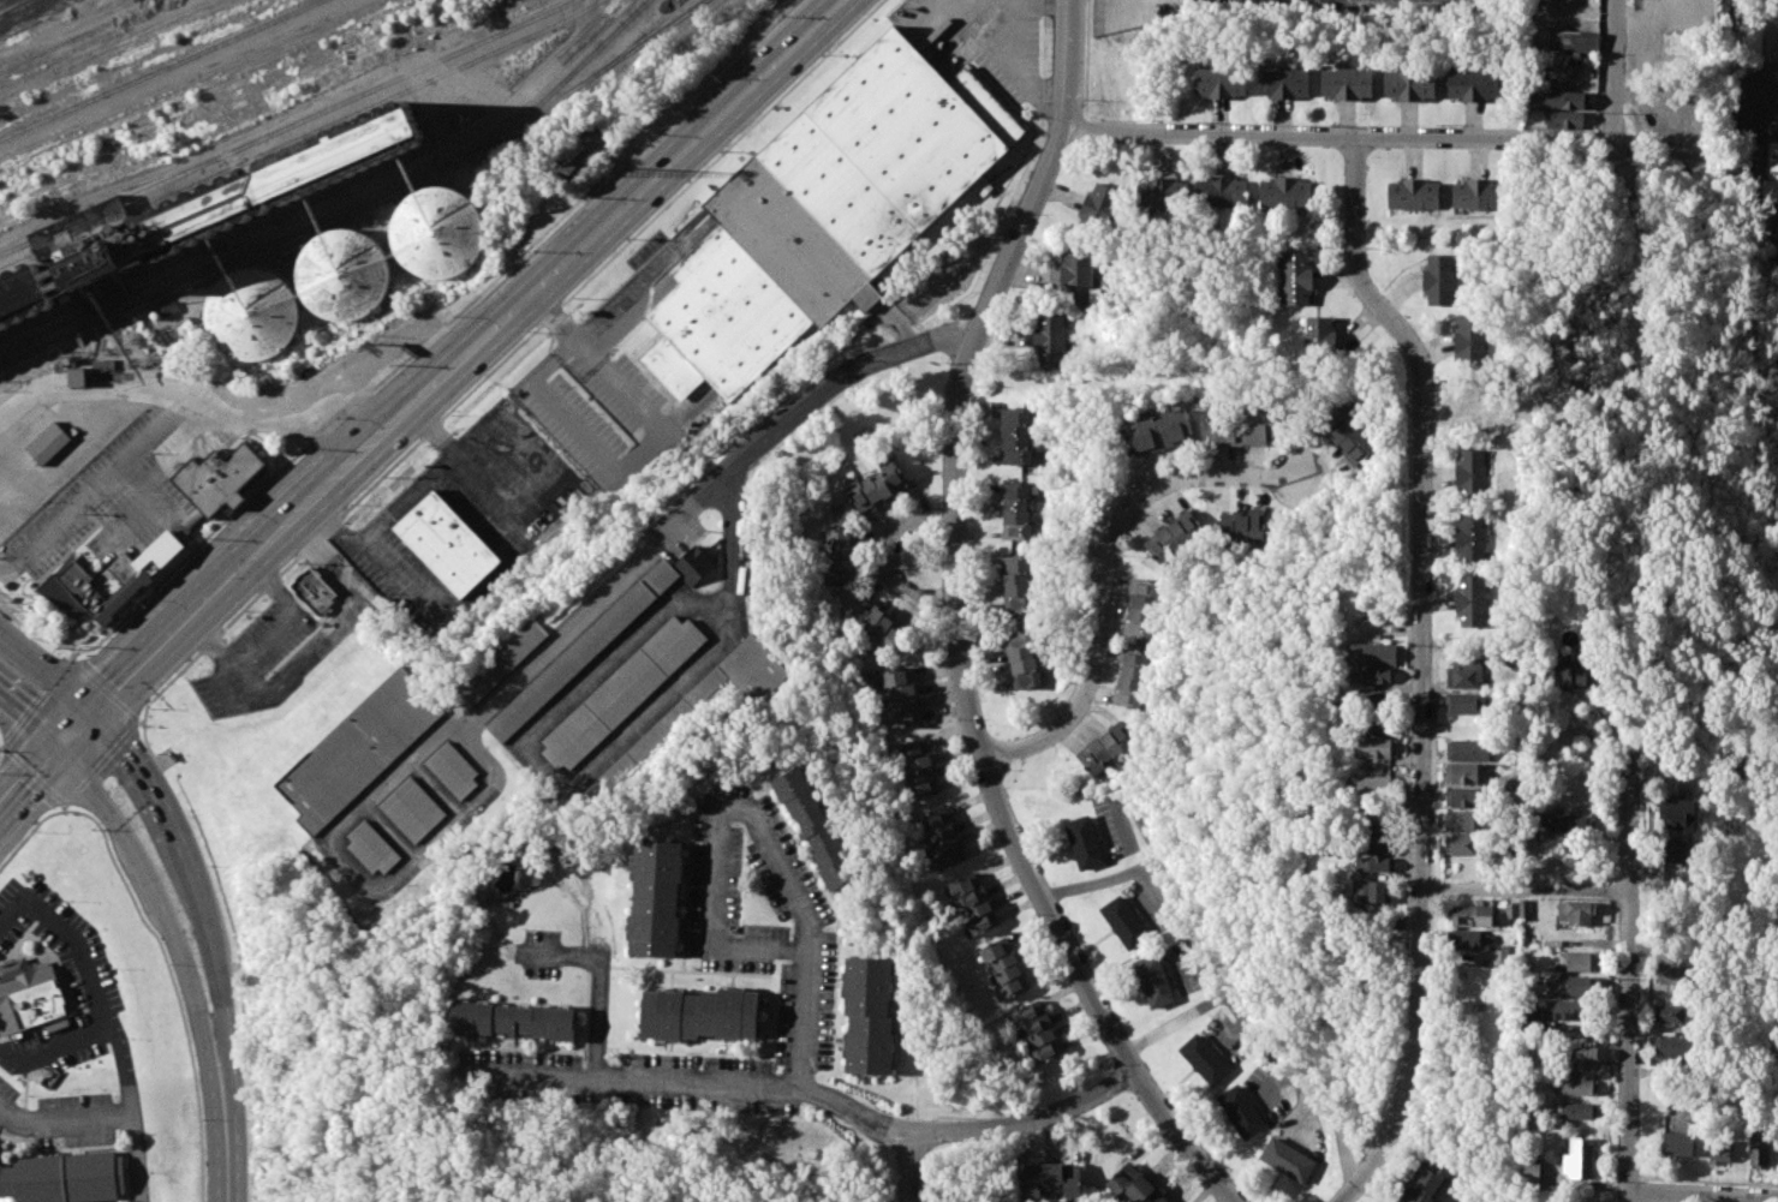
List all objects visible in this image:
building: (1476, 0)
road: (1036, 1)
road: (1055, 2)
railway: (11, 5)
railway: (698, 6)
railway: (673, 8)
railway: (23, 11)
railway: (37, 17)
railway: (50, 22)
building: (1570, 42)
road: (1018, 64)
railway: (159, 68)
road: (1600, 70)
road: (1613, 71)
railway: (597, 74)
railway: (568, 76)
building: (1219, 83)
building: (1283, 83)
building: (1347, 83)
building: (1410, 84)
building: (1474, 84)
street lamp: (1086, 100)
building: (1565, 100)
street lamp: (1601, 113)
street lamp: (1197, 120)
building: (1565, 120)
street lamp: (1330, 122)
street lamp: (1439, 124)
railway: (288, 126)
road: (1276, 132)
railway: (300, 137)
road: (1550, 139)
building: (1771, 177)
building: (268, 185)
building: (1222, 193)
railway: (326, 195)
building: (1163, 195)
building: (1285, 196)
building: (1413, 198)
building: (1478, 199)
railway: (334, 204)
building: (827, 210)
street lamp: (1012, 211)
building: (1099, 211)
road: (602, 231)
building: (436, 234)
street lamp: (1367, 247)
building: (1777, 250)
railway: (244, 261)
building: (86, 262)
building: (341, 276)
building: (1078, 279)
building: (1296, 280)
building: (1442, 281)
road: (634, 283)
building: (20, 295)
building: (250, 316)
road: (550, 321)
road: (937, 336)
building: (1050, 340)
building: (1319, 340)
building: (1470, 342)
street lamp: (947, 363)
building: (1773, 390)
street lamp: (1412, 403)
road: (247, 405)
road: (686, 417)
building: (1241, 427)
road: (316, 429)
building: (1157, 432)
building: (1016, 436)
building: (1344, 436)
building: (48, 442)
road: (640, 456)
street lamp: (1194, 464)
road: (1266, 471)
building: (1470, 474)
road: (103, 478)
building: (217, 478)
building: (876, 488)
road: (149, 495)
road: (404, 498)
building: (1015, 512)
road: (672, 524)
building: (1242, 526)
street lamp: (939, 537)
building: (1173, 537)
building: (1470, 538)
building: (446, 545)
street lamp: (1121, 554)
road: (204, 555)
building: (841, 557)
road: (890, 557)
road: (5, 568)
road: (483, 584)
building: (1016, 584)
building: (106, 587)
road: (225, 588)
building: (312, 592)
road: (1103, 592)
building: (1472, 600)
building: (1141, 608)
road: (347, 614)
building: (875, 624)
road: (957, 627)
road: (38, 636)
building: (597, 639)
road: (265, 641)
building: (1372, 654)
building: (1022, 660)
building: (501, 662)
road: (1422, 666)
road: (48, 670)
building: (1569, 672)
building: (1464, 674)
building: (1370, 675)
building: (1130, 678)
road: (245, 680)
road: (105, 690)
building: (622, 692)
building: (899, 696)
building: (1374, 698)
street lamp: (1093, 701)
building: (1464, 704)
building: (700, 706)
traffic signals: (91, 716)
street lamp: (955, 719)
road: (30, 723)
building: (1378, 728)
road: (76, 734)
road: (147, 743)
building: (1372, 747)
building: (1106, 748)
building: (358, 749)
building: (1468, 749)
traffic signals: (60, 753)
building: (917, 767)
building: (453, 770)
building: (1464, 773)
road: (32, 775)
building: (1370, 784)
road: (1522, 784)
road: (29, 787)
building: (1464, 797)
building: (413, 811)
road: (756, 813)
building: (1678, 814)
building: (1463, 820)
building: (1565, 821)
building: (815, 827)
road: (169, 830)
building: (1374, 833)
building: (941, 839)
building: (1084, 842)
building: (1463, 845)
building: (371, 848)
building: (1673, 851)
building: (1374, 863)
road: (1460, 889)
road: (1563, 891)
road: (157, 896)
building: (1371, 896)
building: (656, 898)
building: (972, 904)
building: (1519, 910)
building: (1576, 911)
building: (1469, 915)
building: (1124, 922)
building: (1470, 939)
building: (1509, 956)
building: (1576, 962)
building: (1004, 968)
road: (1629, 971)
building: (1670, 974)
building: (1153, 981)
parking lot: (90, 982)
road: (173, 982)
road: (599, 982)
building: (1574, 985)
building: (29, 999)
road: (223, 1010)
building: (1573, 1010)
building: (1671, 1012)
road: (1187, 1013)
building: (702, 1015)
building: (869, 1016)
building: (1532, 1016)
road: (107, 1019)
building: (513, 1021)
building: (1036, 1033)
building: (1675, 1046)
building: (1582, 1058)
building: (1204, 1059)
road: (535, 1074)
road: (1299, 1081)
road: (756, 1083)
building: (1576, 1087)
parking lot: (6, 1098)
building: (1576, 1111)
building: (1241, 1112)
street lamp: (202, 1118)
road: (1025, 1119)
road: (62, 1120)
parking lot: (71, 1123)
road: (225, 1130)
building: (1677, 1143)
building: (1719, 1144)
building: (1758, 1149)
building: (1580, 1159)
building: (1288, 1160)
road: (906, 1171)
building: (1529, 1171)
building: (62, 1178)
building: (1426, 1178)
building: (1051, 1179)
building: (1134, 1185)
road: (1692, 1198)

